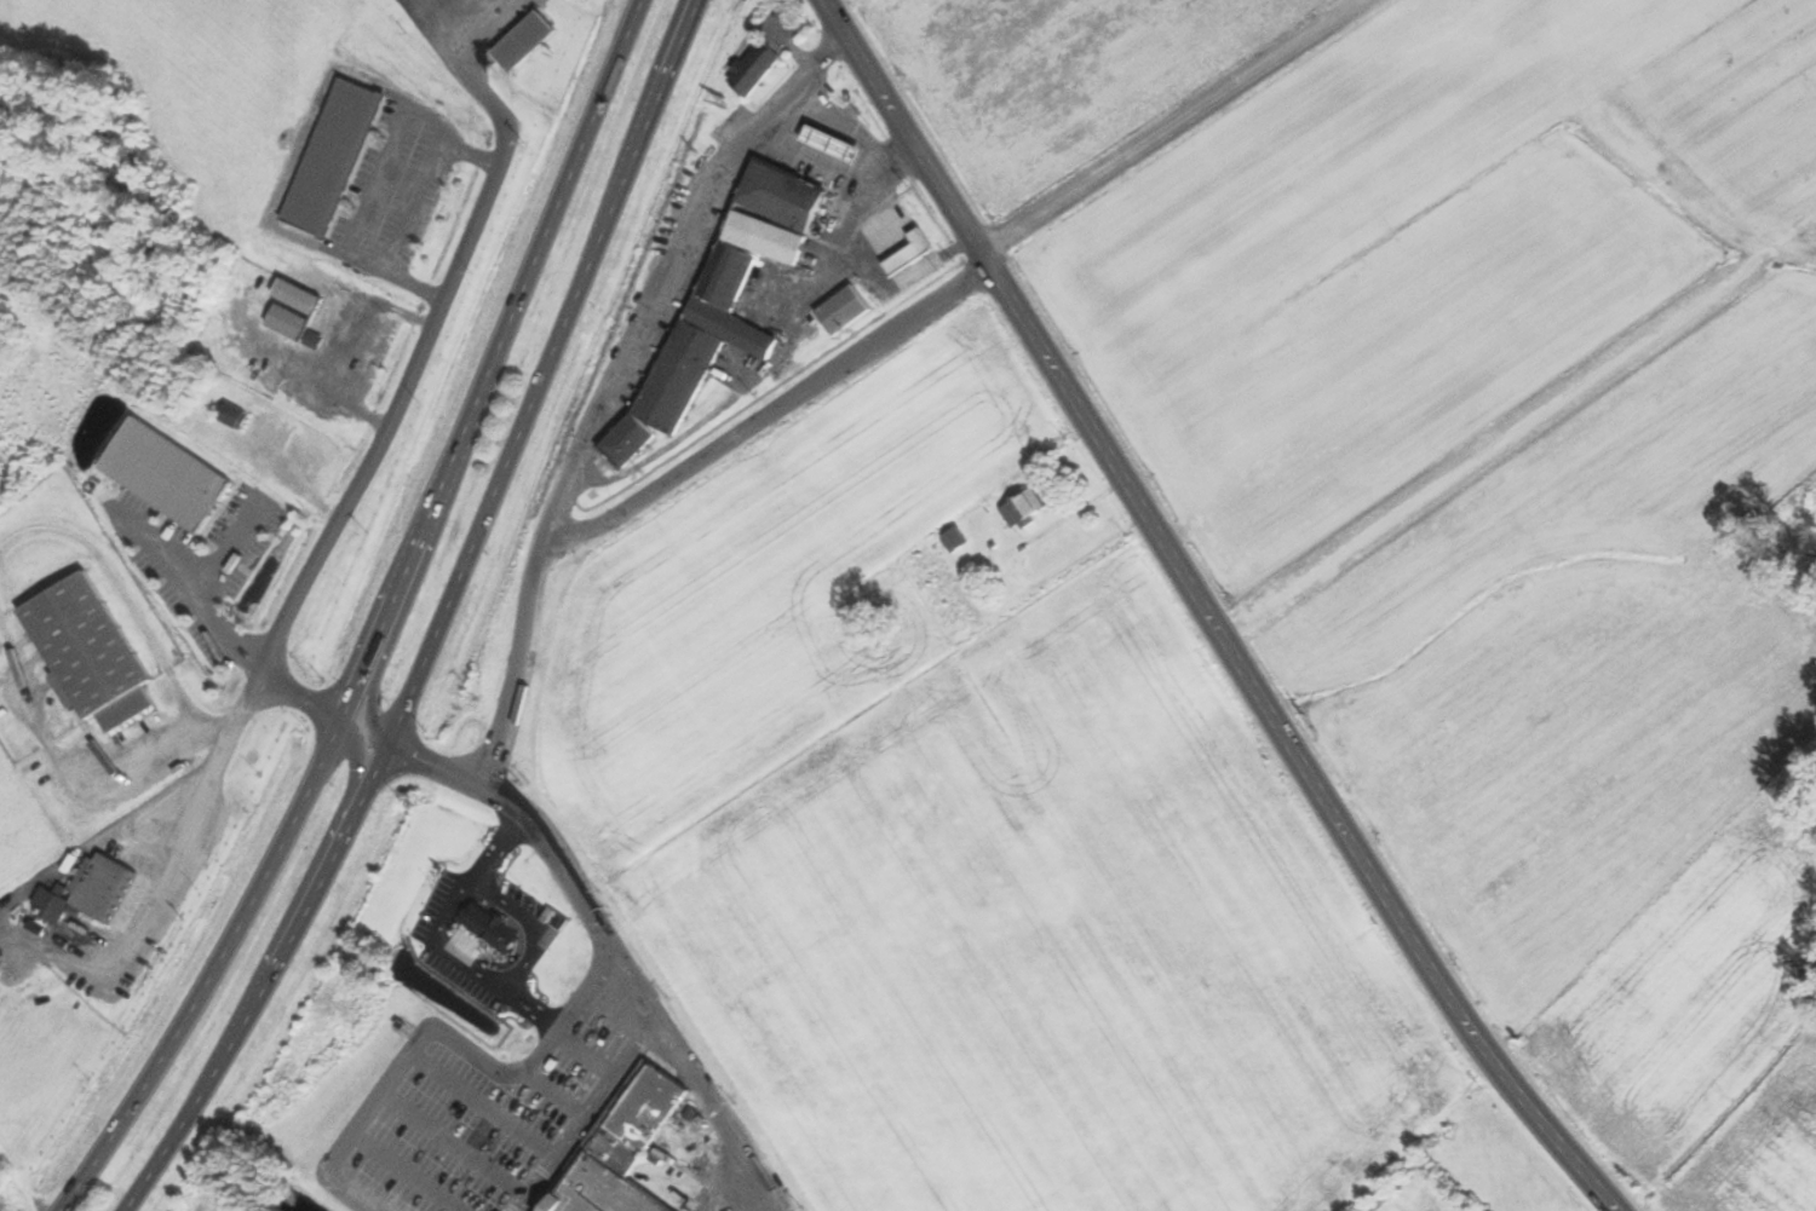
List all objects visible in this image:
road: (478, 23)
building: (528, 41)
building: (758, 69)
road: (305, 140)
building: (838, 145)
building: (338, 158)
road: (832, 168)
road: (381, 183)
road: (415, 213)
building: (913, 254)
building: (301, 296)
building: (724, 305)
building: (293, 322)
road: (611, 384)
road: (769, 411)
building: (236, 417)
road: (352, 490)
building: (1027, 511)
building: (201, 541)
building: (959, 541)
road: (1206, 612)
road: (446, 619)
road: (390, 621)
building: (92, 653)
road: (305, 698)
road: (373, 699)
road: (356, 775)
road: (477, 872)
building: (92, 892)
road: (533, 923)
building: (495, 929)
road: (616, 944)
road: (476, 967)
road: (536, 1005)
road: (444, 1033)
road: (587, 1111)
building: (623, 1146)

